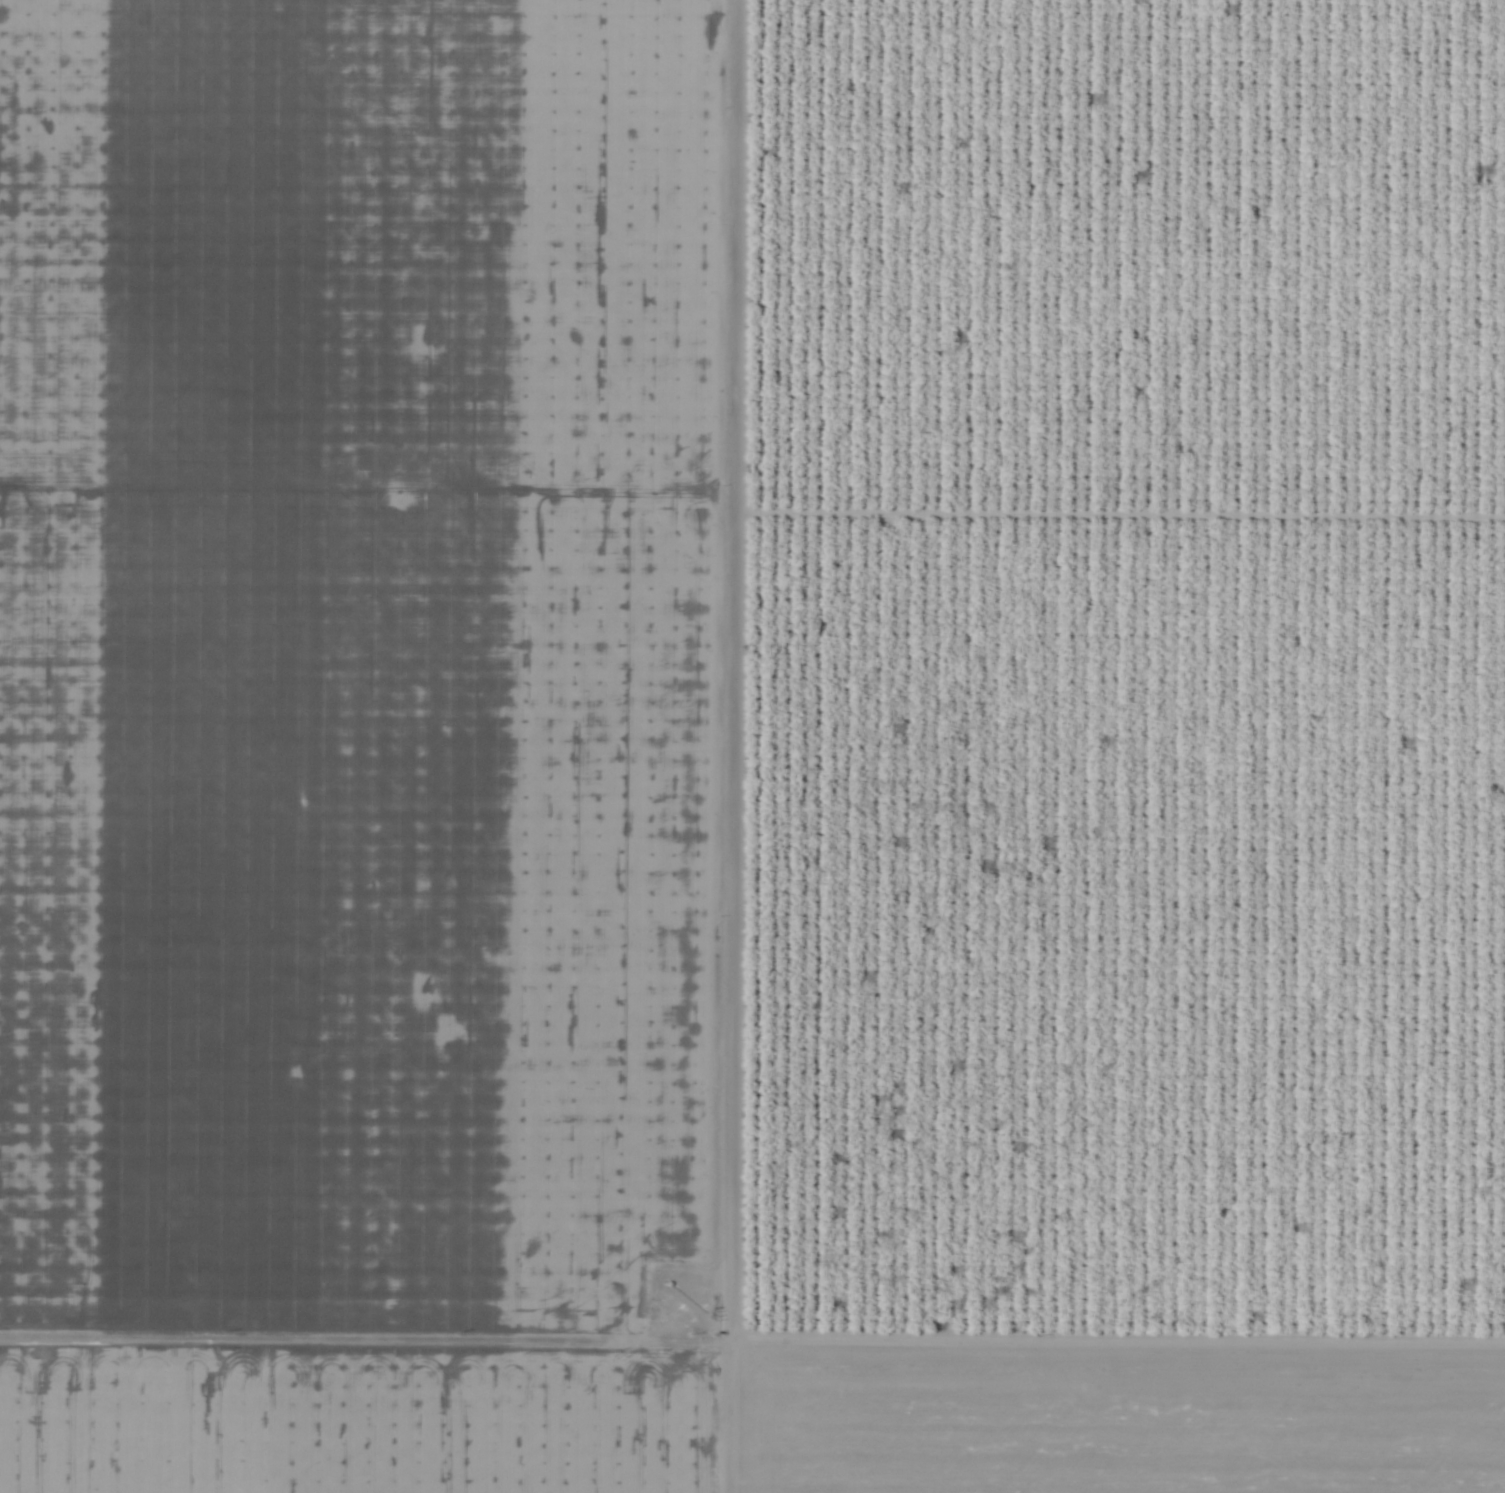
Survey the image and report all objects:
crop: (752, 746)
road: (752, 1342)
road: (715, 1417)

